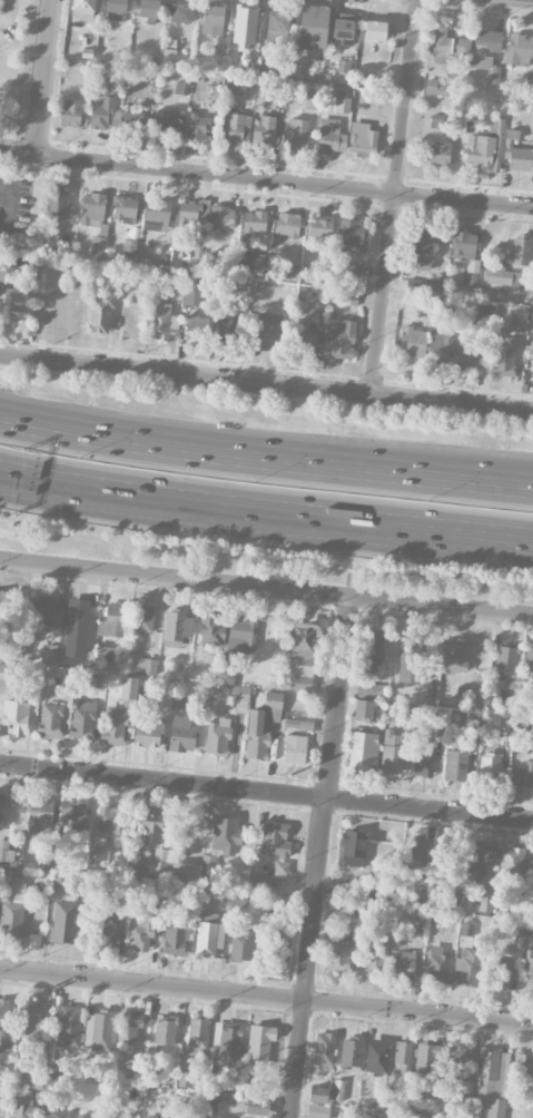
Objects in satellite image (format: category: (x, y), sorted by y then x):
road: (529, 0)
building: (82, 9)
road: (8, 10)
building: (116, 10)
building: (148, 10)
building: (180, 12)
building: (213, 19)
building: (276, 23)
building: (313, 26)
building: (244, 29)
building: (342, 29)
building: (375, 30)
building: (446, 45)
building: (484, 47)
building: (519, 51)
building: (168, 57)
building: (269, 67)
building: (343, 67)
road: (43, 76)
building: (236, 87)
building: (181, 88)
building: (435, 88)
road: (405, 96)
building: (279, 99)
building: (309, 100)
building: (343, 105)
building: (70, 114)
building: (100, 114)
building: (132, 122)
building: (169, 122)
building: (197, 126)
building: (496, 126)
building: (235, 128)
building: (261, 130)
building: (296, 134)
building: (330, 136)
building: (362, 138)
road: (18, 151)
building: (482, 151)
building: (438, 153)
building: (516, 153)
road: (285, 179)
road: (7, 204)
building: (56, 204)
building: (125, 208)
building: (92, 209)
building: (190, 210)
building: (156, 215)
building: (221, 217)
building: (254, 220)
building: (287, 224)
building: (319, 227)
building: (352, 236)
building: (98, 247)
building: (129, 247)
building: (421, 248)
building: (466, 253)
building: (259, 263)
building: (509, 264)
building: (352, 268)
building: (289, 272)
building: (7, 274)
building: (176, 278)
building: (420, 285)
building: (193, 290)
road: (382, 293)
building: (346, 297)
building: (16, 304)
building: (416, 304)
building: (100, 314)
building: (515, 321)
building: (531, 321)
building: (162, 322)
building: (196, 328)
building: (228, 331)
building: (268, 331)
building: (250, 333)
building: (303, 339)
building: (340, 339)
building: (412, 342)
building: (438, 346)
building: (504, 355)
building: (470, 356)
road: (266, 383)
road: (265, 458)
road: (265, 511)
road: (266, 588)
building: (2, 608)
building: (43, 609)
building: (141, 619)
building: (112, 621)
building: (78, 622)
building: (177, 626)
building: (213, 629)
building: (241, 634)
building: (373, 653)
building: (103, 654)
building: (49, 655)
building: (302, 655)
building: (455, 656)
building: (527, 663)
building: (146, 666)
building: (506, 666)
building: (409, 673)
building: (4, 679)
building: (362, 692)
building: (128, 694)
building: (468, 694)
building: (239, 695)
building: (177, 700)
building: (363, 708)
building: (16, 717)
building: (473, 718)
building: (82, 719)
building: (50, 720)
building: (292, 720)
building: (113, 725)
building: (254, 727)
building: (148, 733)
building: (181, 734)
building: (217, 737)
building: (295, 748)
building: (363, 752)
building: (391, 753)
building: (458, 761)
building: (422, 762)
building: (488, 765)
building: (522, 775)
road: (266, 793)
building: (0, 808)
building: (40, 815)
building: (72, 816)
building: (110, 818)
building: (151, 826)
building: (225, 835)
building: (275, 840)
building: (353, 849)
building: (6, 851)
building: (446, 851)
building: (415, 853)
road: (322, 857)
building: (480, 861)
building: (511, 861)
building: (157, 863)
building: (280, 867)
building: (186, 872)
building: (58, 879)
building: (259, 882)
building: (532, 882)
building: (343, 891)
building: (453, 898)
building: (485, 900)
building: (238, 901)
building: (272, 903)
building: (12, 906)
building: (343, 909)
building: (65, 920)
building: (107, 928)
building: (141, 930)
building: (465, 935)
building: (175, 938)
building: (210, 939)
building: (240, 943)
building: (276, 948)
building: (339, 954)
building: (376, 959)
building: (403, 963)
building: (436, 964)
building: (466, 965)
building: (527, 971)
building: (499, 974)
road: (266, 997)
building: (3, 1011)
building: (30, 1014)
building: (69, 1024)
building: (130, 1027)
building: (165, 1029)
building: (98, 1030)
building: (198, 1032)
building: (228, 1041)
building: (259, 1045)
building: (324, 1049)
building: (4, 1050)
building: (351, 1053)
building: (376, 1055)
building: (458, 1056)
building: (403, 1057)
building: (425, 1069)
building: (522, 1069)
building: (185, 1078)
building: (30, 1081)
building: (491, 1081)
building: (218, 1083)
building: (337, 1089)
building: (465, 1091)
building: (317, 1095)
building: (22, 1107)
building: (257, 1107)
building: (317, 1110)
building: (151, 1117)

